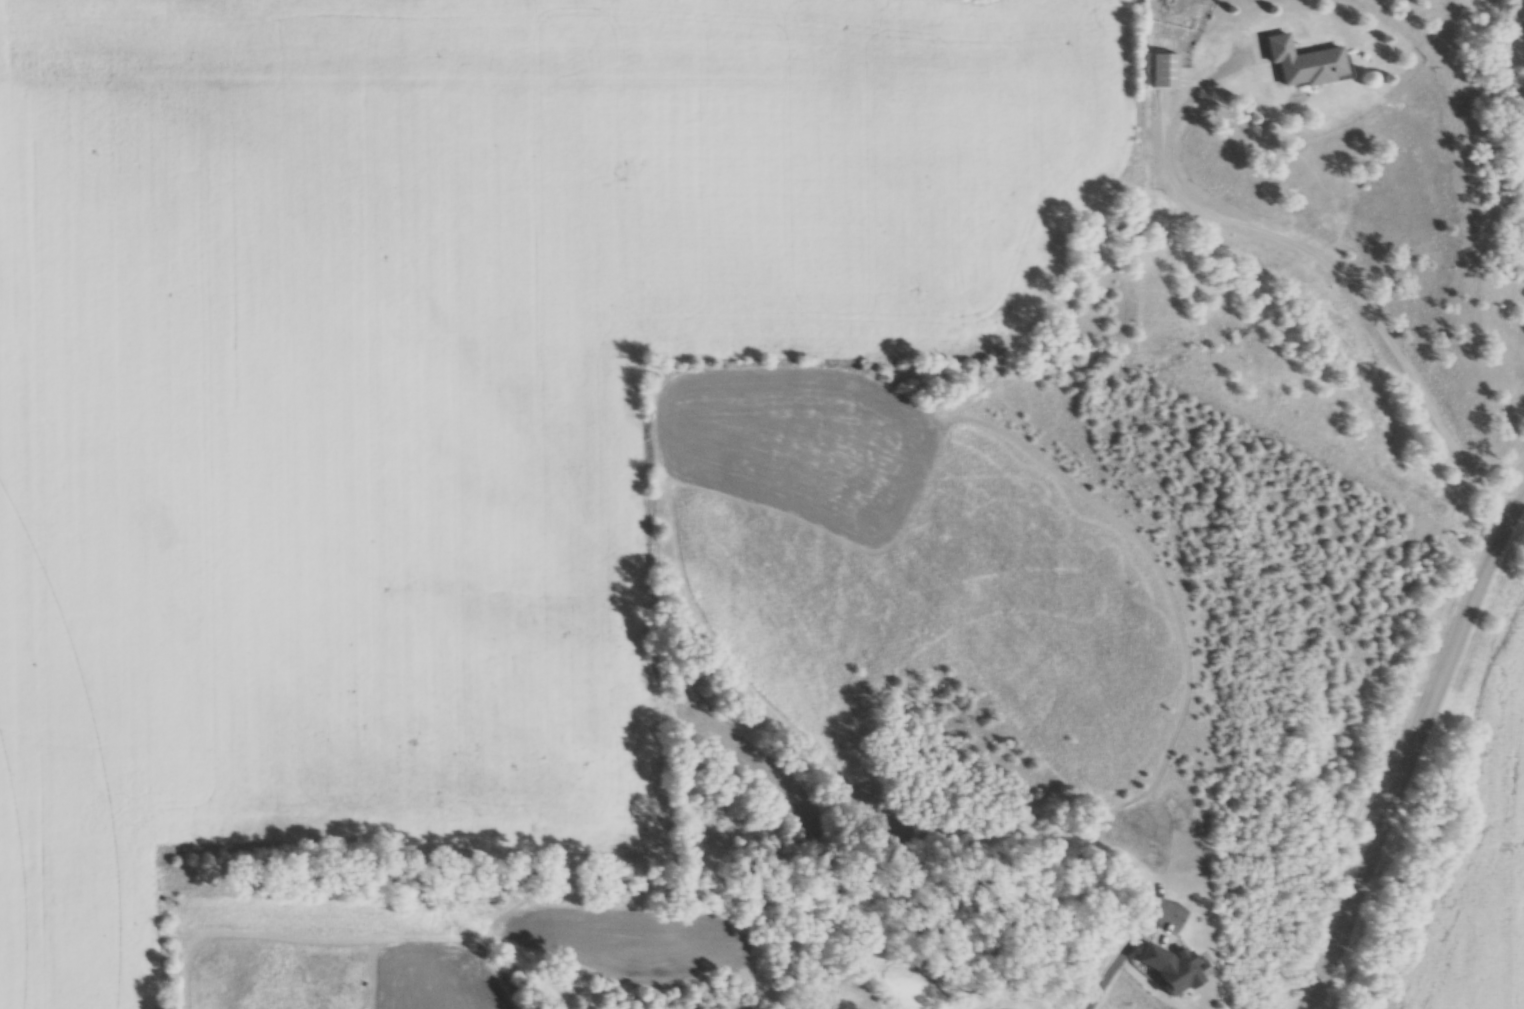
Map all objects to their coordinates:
road: (1313, 255)
road: (984, 745)
road: (1416, 751)
road: (1109, 975)

